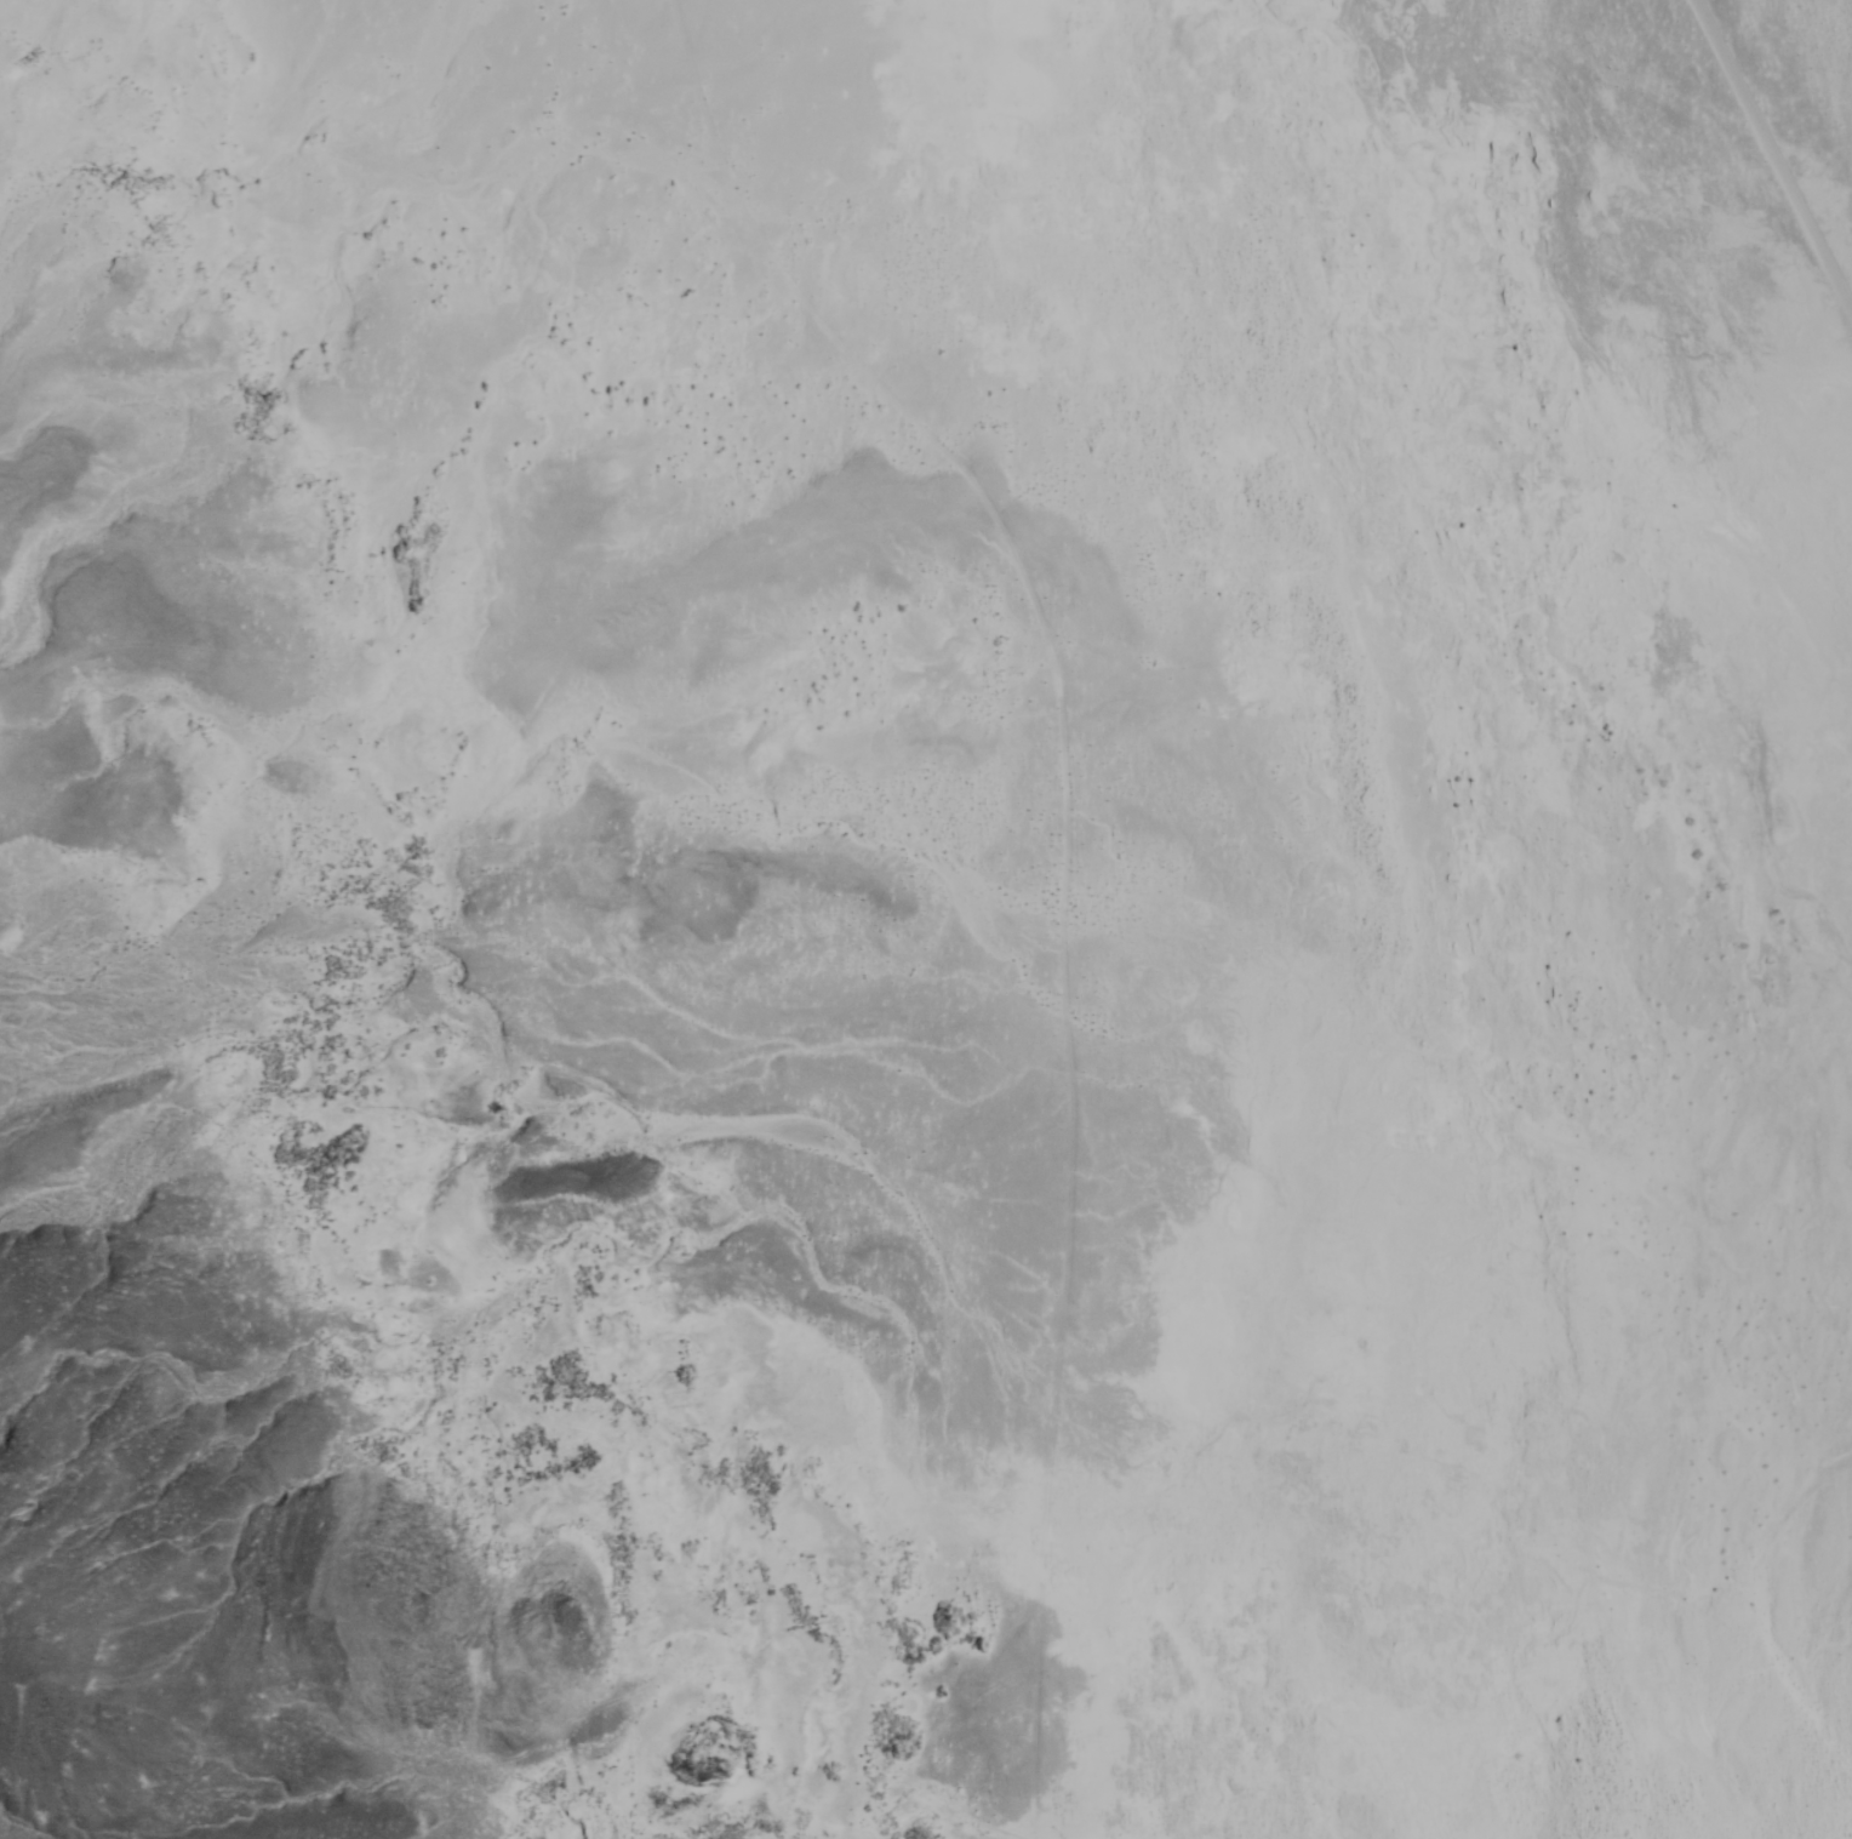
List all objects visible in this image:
road: (1776, 142)

